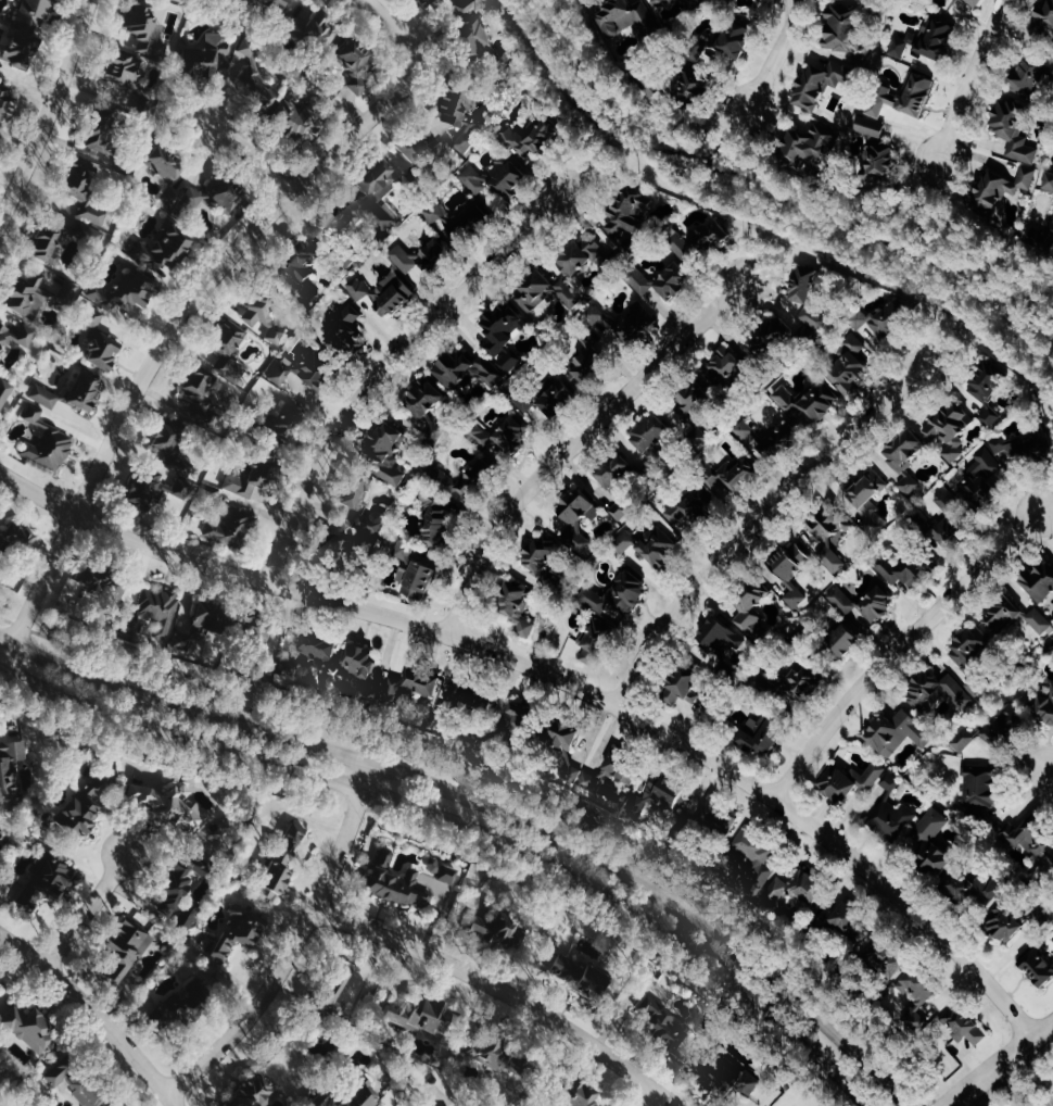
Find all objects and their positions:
building: (655, 0)
building: (446, 1)
building: (977, 1)
building: (693, 2)
building: (277, 3)
building: (429, 3)
building: (36, 12)
building: (622, 15)
building: (1046, 15)
road: (390, 23)
building: (845, 24)
building: (472, 27)
building: (147, 30)
building: (321, 30)
building: (737, 39)
building: (928, 41)
building: (22, 49)
road: (776, 53)
building: (210, 58)
building: (357, 63)
building: (123, 70)
building: (257, 74)
road: (969, 77)
road: (495, 78)
building: (1032, 78)
building: (822, 84)
building: (695, 87)
building: (904, 98)
building: (4, 100)
building: (458, 104)
road: (50, 112)
building: (299, 118)
building: (1015, 130)
road: (728, 131)
building: (536, 135)
building: (103, 138)
building: (465, 140)
building: (807, 146)
building: (879, 147)
building: (405, 148)
road: (593, 154)
building: (166, 162)
road: (249, 162)
building: (1049, 181)
building: (497, 184)
building: (87, 189)
building: (1003, 189)
building: (381, 190)
road: (775, 192)
building: (227, 194)
building: (194, 197)
road: (929, 204)
building: (631, 219)
building: (343, 221)
building: (458, 221)
building: (91, 234)
building: (708, 237)
road: (767, 241)
building: (50, 243)
building: (166, 248)
building: (585, 259)
building: (304, 267)
building: (675, 279)
building: (642, 280)
building: (129, 291)
building: (385, 292)
building: (537, 292)
building: (27, 298)
building: (811, 300)
building: (96, 316)
building: (265, 317)
building: (627, 321)
building: (110, 326)
road: (956, 328)
building: (15, 331)
road: (176, 331)
building: (345, 334)
building: (506, 336)
building: (772, 338)
building: (866, 345)
building: (230, 350)
building: (104, 351)
building: (589, 359)
road: (388, 364)
building: (730, 368)
building: (309, 369)
building: (469, 369)
building: (201, 388)
building: (85, 391)
building: (5, 392)
building: (989, 392)
building: (45, 395)
building: (560, 397)
building: (524, 400)
building: (808, 404)
building: (429, 407)
building: (696, 414)
building: (283, 422)
building: (744, 429)
building: (952, 429)
building: (172, 433)
building: (503, 437)
building: (782, 438)
building: (49, 441)
road: (574, 442)
building: (657, 442)
building: (908, 450)
building: (1027, 450)
building: (391, 452)
building: (180, 465)
building: (484, 467)
building: (736, 475)
building: (986, 475)
building: (251, 477)
building: (444, 479)
building: (911, 482)
building: (469, 485)
building: (620, 488)
building: (152, 493)
building: (211, 493)
building: (429, 501)
building: (871, 503)
building: (365, 506)
road: (1045, 507)
building: (581, 508)
building: (695, 508)
building: (951, 519)
building: (232, 524)
building: (442, 524)
road: (759, 524)
building: (22, 538)
building: (832, 538)
building: (576, 539)
building: (623, 540)
building: (338, 544)
building: (660, 546)
building: (405, 550)
building: (903, 570)
building: (794, 571)
building: (419, 579)
building: (102, 582)
building: (1042, 582)
building: (627, 593)
building: (842, 600)
building: (879, 603)
building: (753, 606)
building: (522, 609)
building: (156, 617)
building: (1017, 617)
building: (214, 623)
building: (257, 637)
building: (723, 639)
building: (847, 640)
building: (594, 642)
building: (320, 646)
road: (899, 648)
building: (972, 648)
building: (359, 661)
building: (289, 669)
road: (558, 677)
building: (803, 681)
building: (688, 683)
building: (411, 684)
building: (370, 688)
building: (942, 690)
building: (467, 695)
building: (1046, 709)
building: (523, 722)
building: (899, 732)
building: (763, 734)
building: (569, 747)
building: (11, 766)
building: (623, 769)
road: (1050, 772)
road: (508, 777)
building: (589, 781)
building: (851, 781)
building: (891, 781)
building: (981, 789)
building: (664, 793)
road: (489, 806)
building: (87, 807)
building: (893, 818)
building: (720, 819)
road: (462, 825)
building: (2, 831)
building: (1029, 835)
building: (933, 846)
building: (754, 852)
building: (1052, 857)
building: (283, 860)
building: (444, 870)
building: (48, 880)
building: (398, 882)
building: (974, 887)
building: (796, 888)
building: (183, 892)
road: (89, 910)
building: (849, 918)
building: (1006, 922)
building: (500, 928)
building: (241, 930)
road: (297, 944)
building: (126, 950)
building: (888, 954)
building: (1040, 966)
building: (578, 976)
building: (0, 980)
road: (506, 990)
building: (921, 990)
building: (346, 993)
building: (625, 1003)
road: (98, 1011)
building: (176, 1011)
building: (424, 1014)
building: (663, 1023)
building: (33, 1027)
building: (965, 1027)
building: (499, 1055)
road: (998, 1061)
road: (1014, 1077)
building: (76, 1079)
building: (738, 1081)
building: (256, 1092)
building: (583, 1093)
road: (978, 1094)
building: (365, 1095)
parking lot: (1045, 1099)
road: (659, 1101)
building: (433, 1103)

